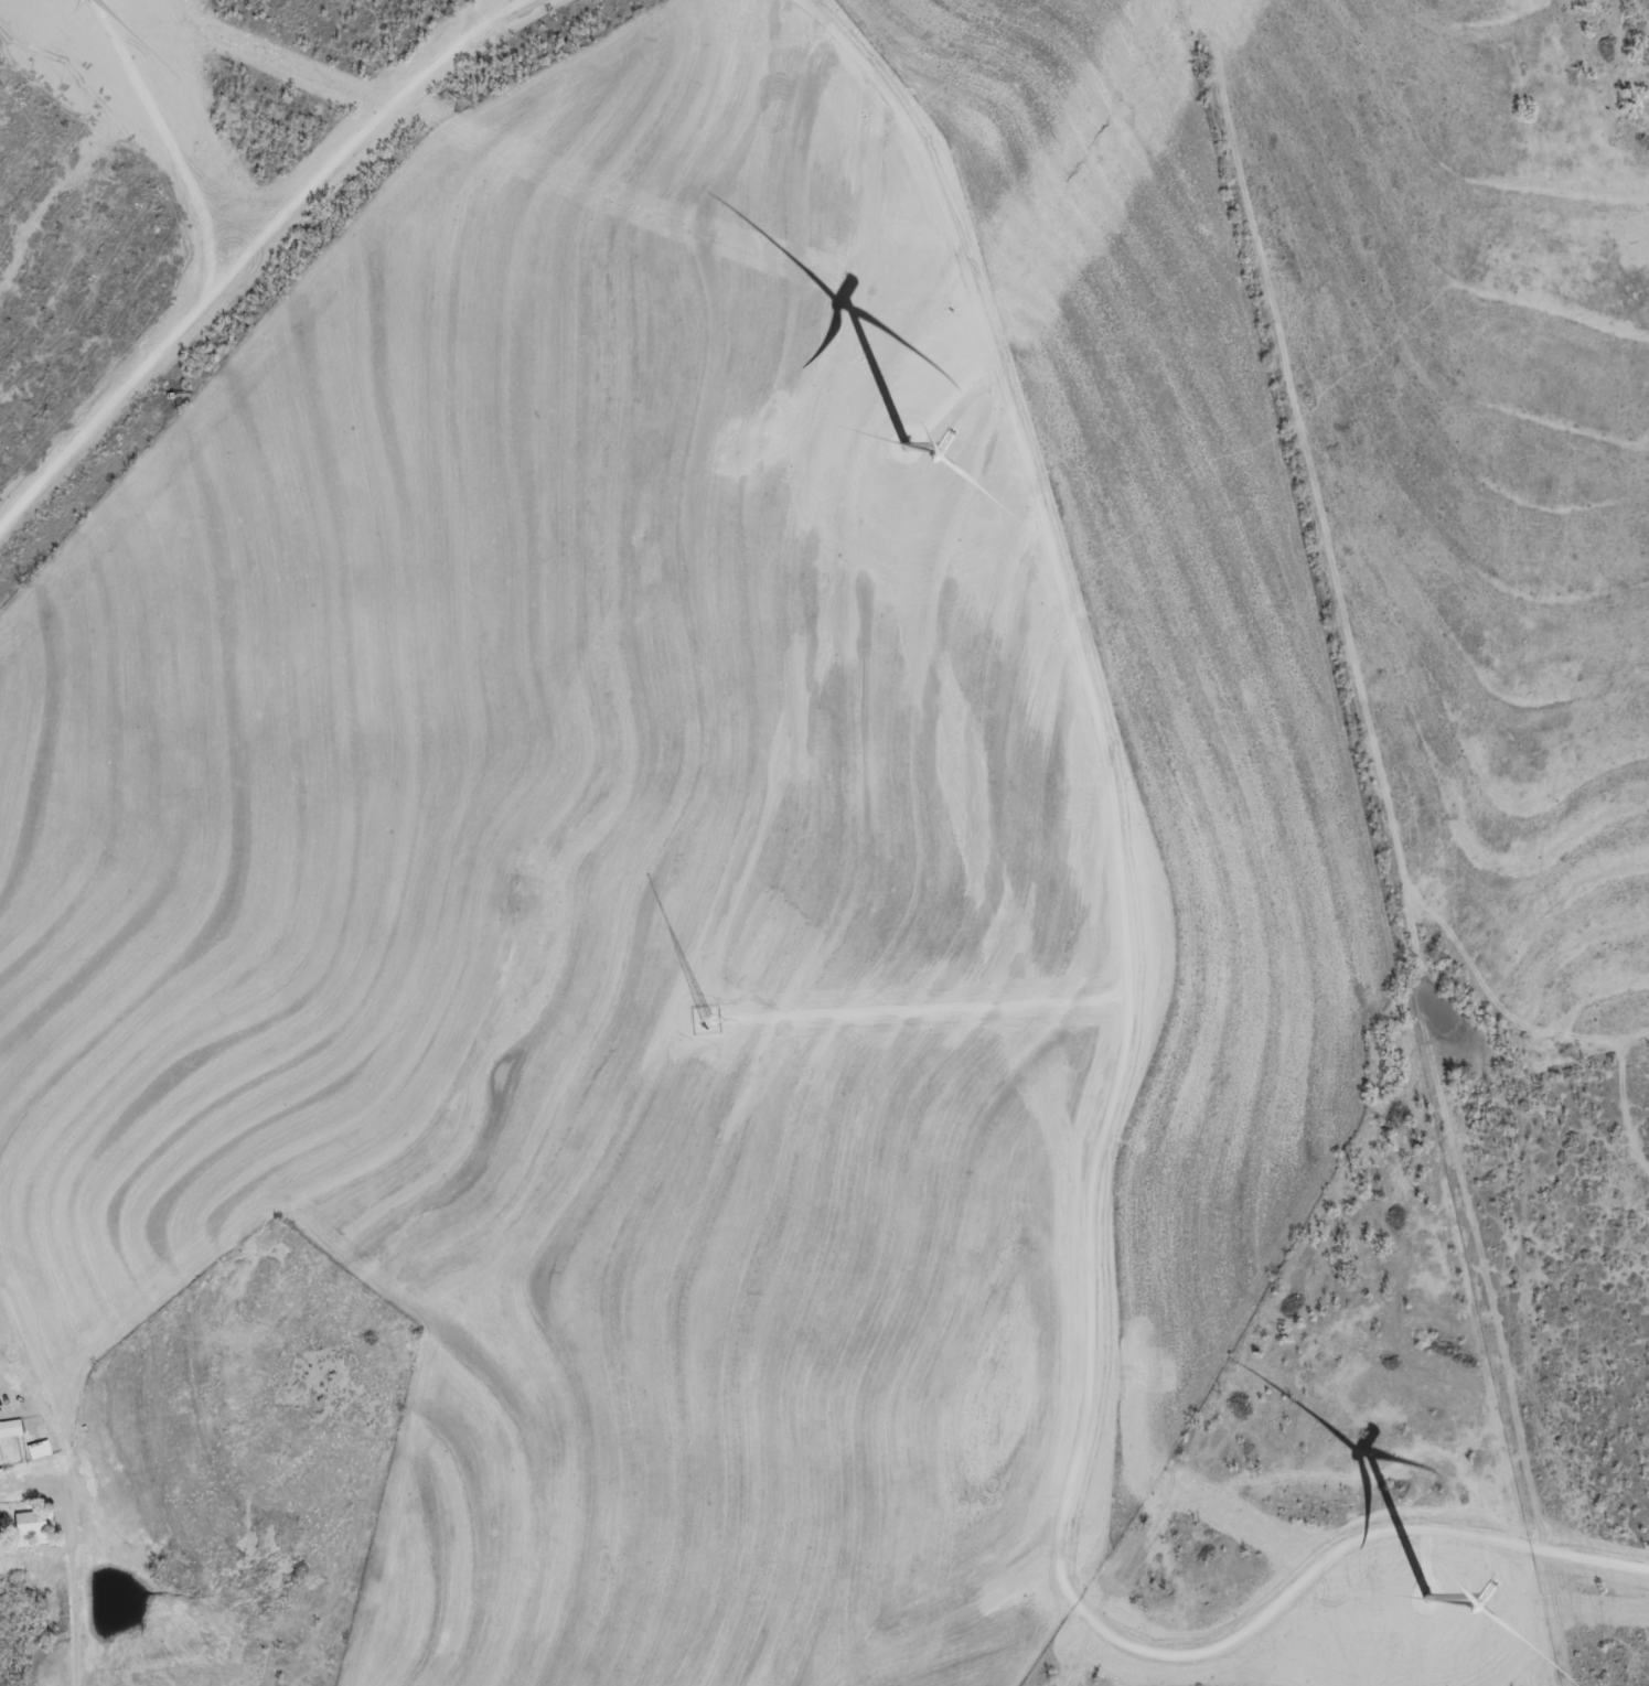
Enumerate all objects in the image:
road: (250, 243)
wind turbine: (908, 442)
road: (930, 1009)
road: (1109, 1091)
building: (10, 1427)
building: (29, 1523)
road: (71, 1547)
wind turbine: (1424, 1598)
road: (1084, 1660)

